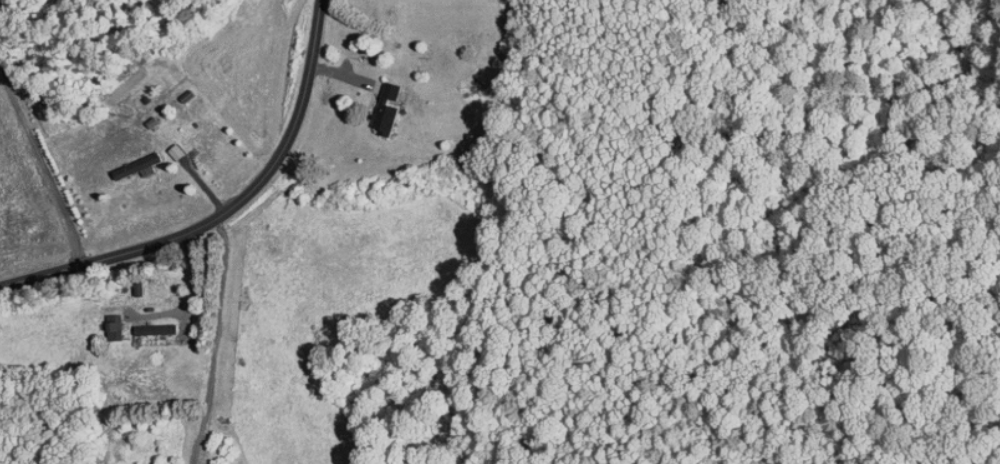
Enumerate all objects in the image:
building: (379, 102)
building: (168, 145)
road: (44, 163)
road: (226, 211)
building: (106, 321)
road: (216, 340)

